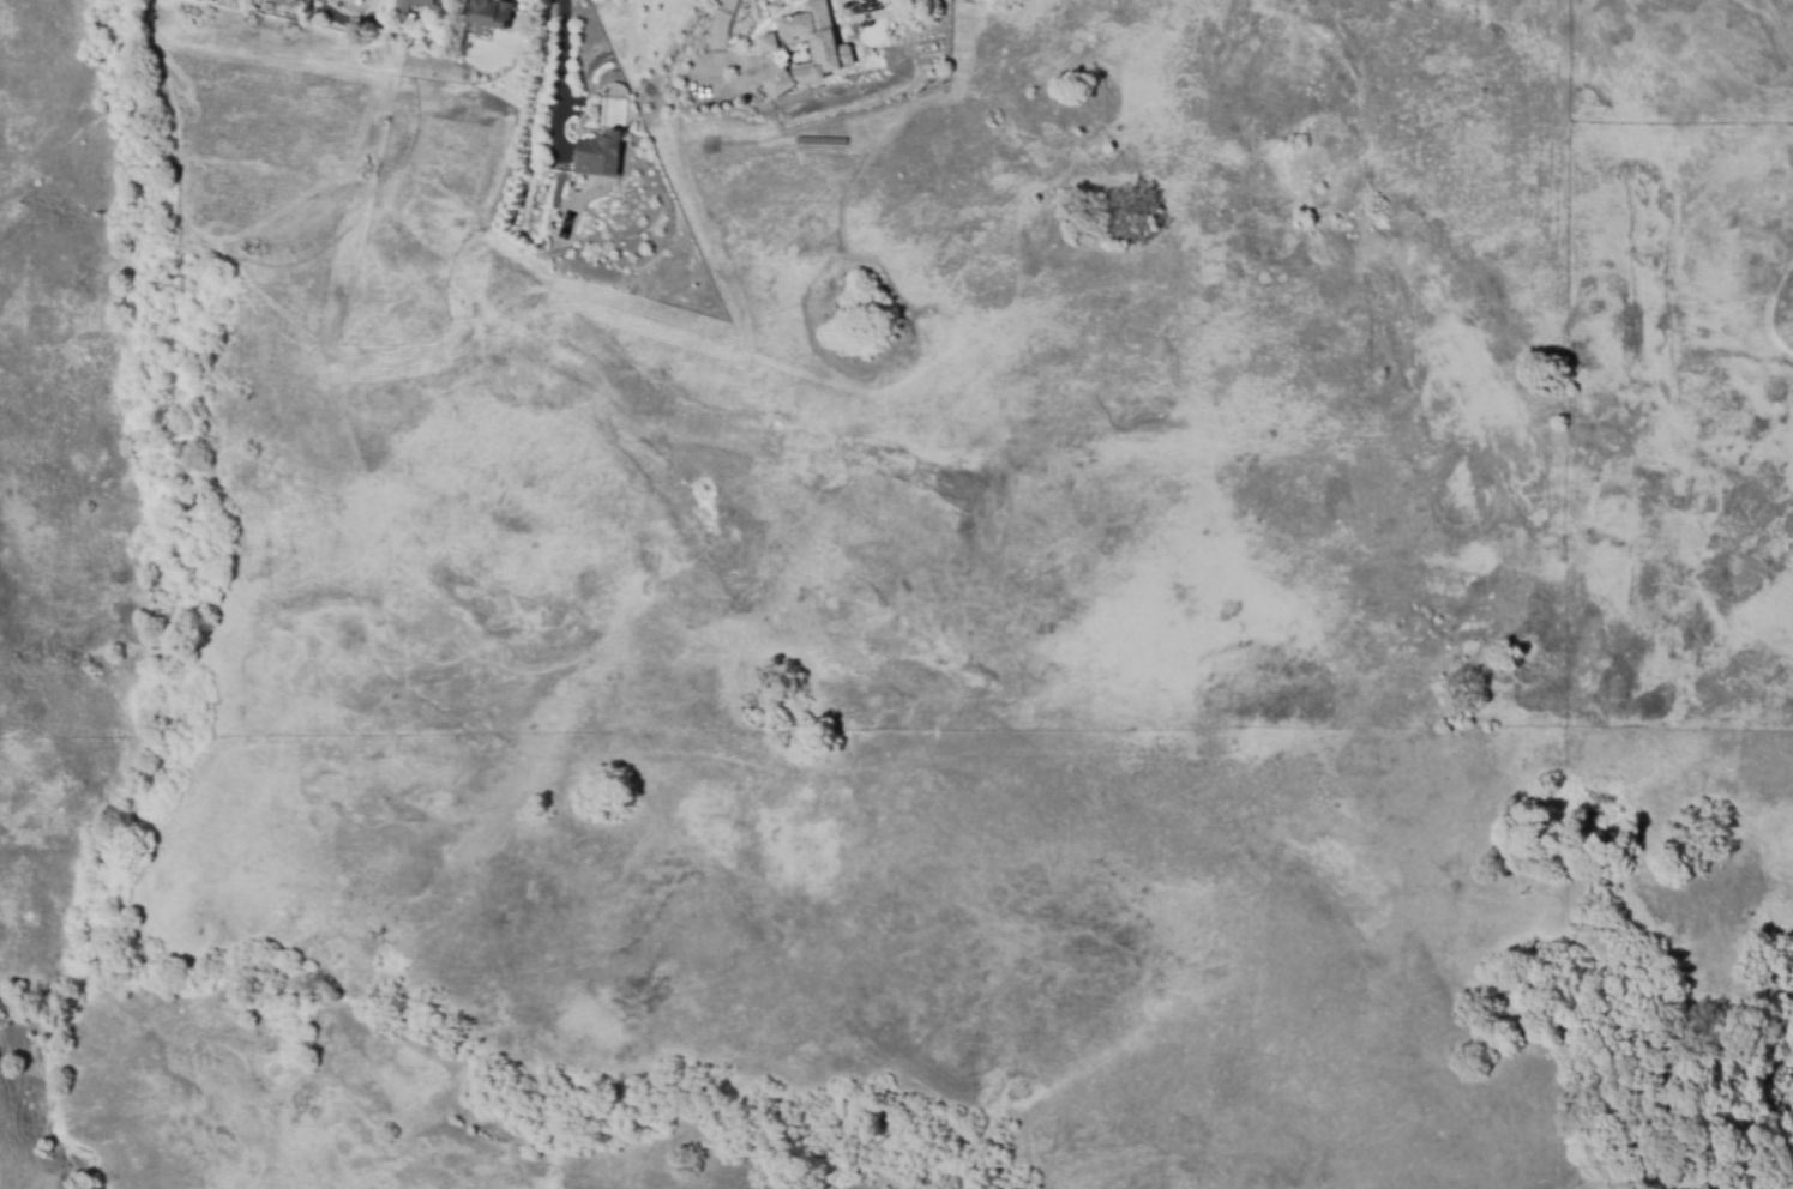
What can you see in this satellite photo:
building: (426, 2)
building: (487, 13)
road: (720, 35)
building: (832, 52)
road: (560, 71)
building: (595, 153)

